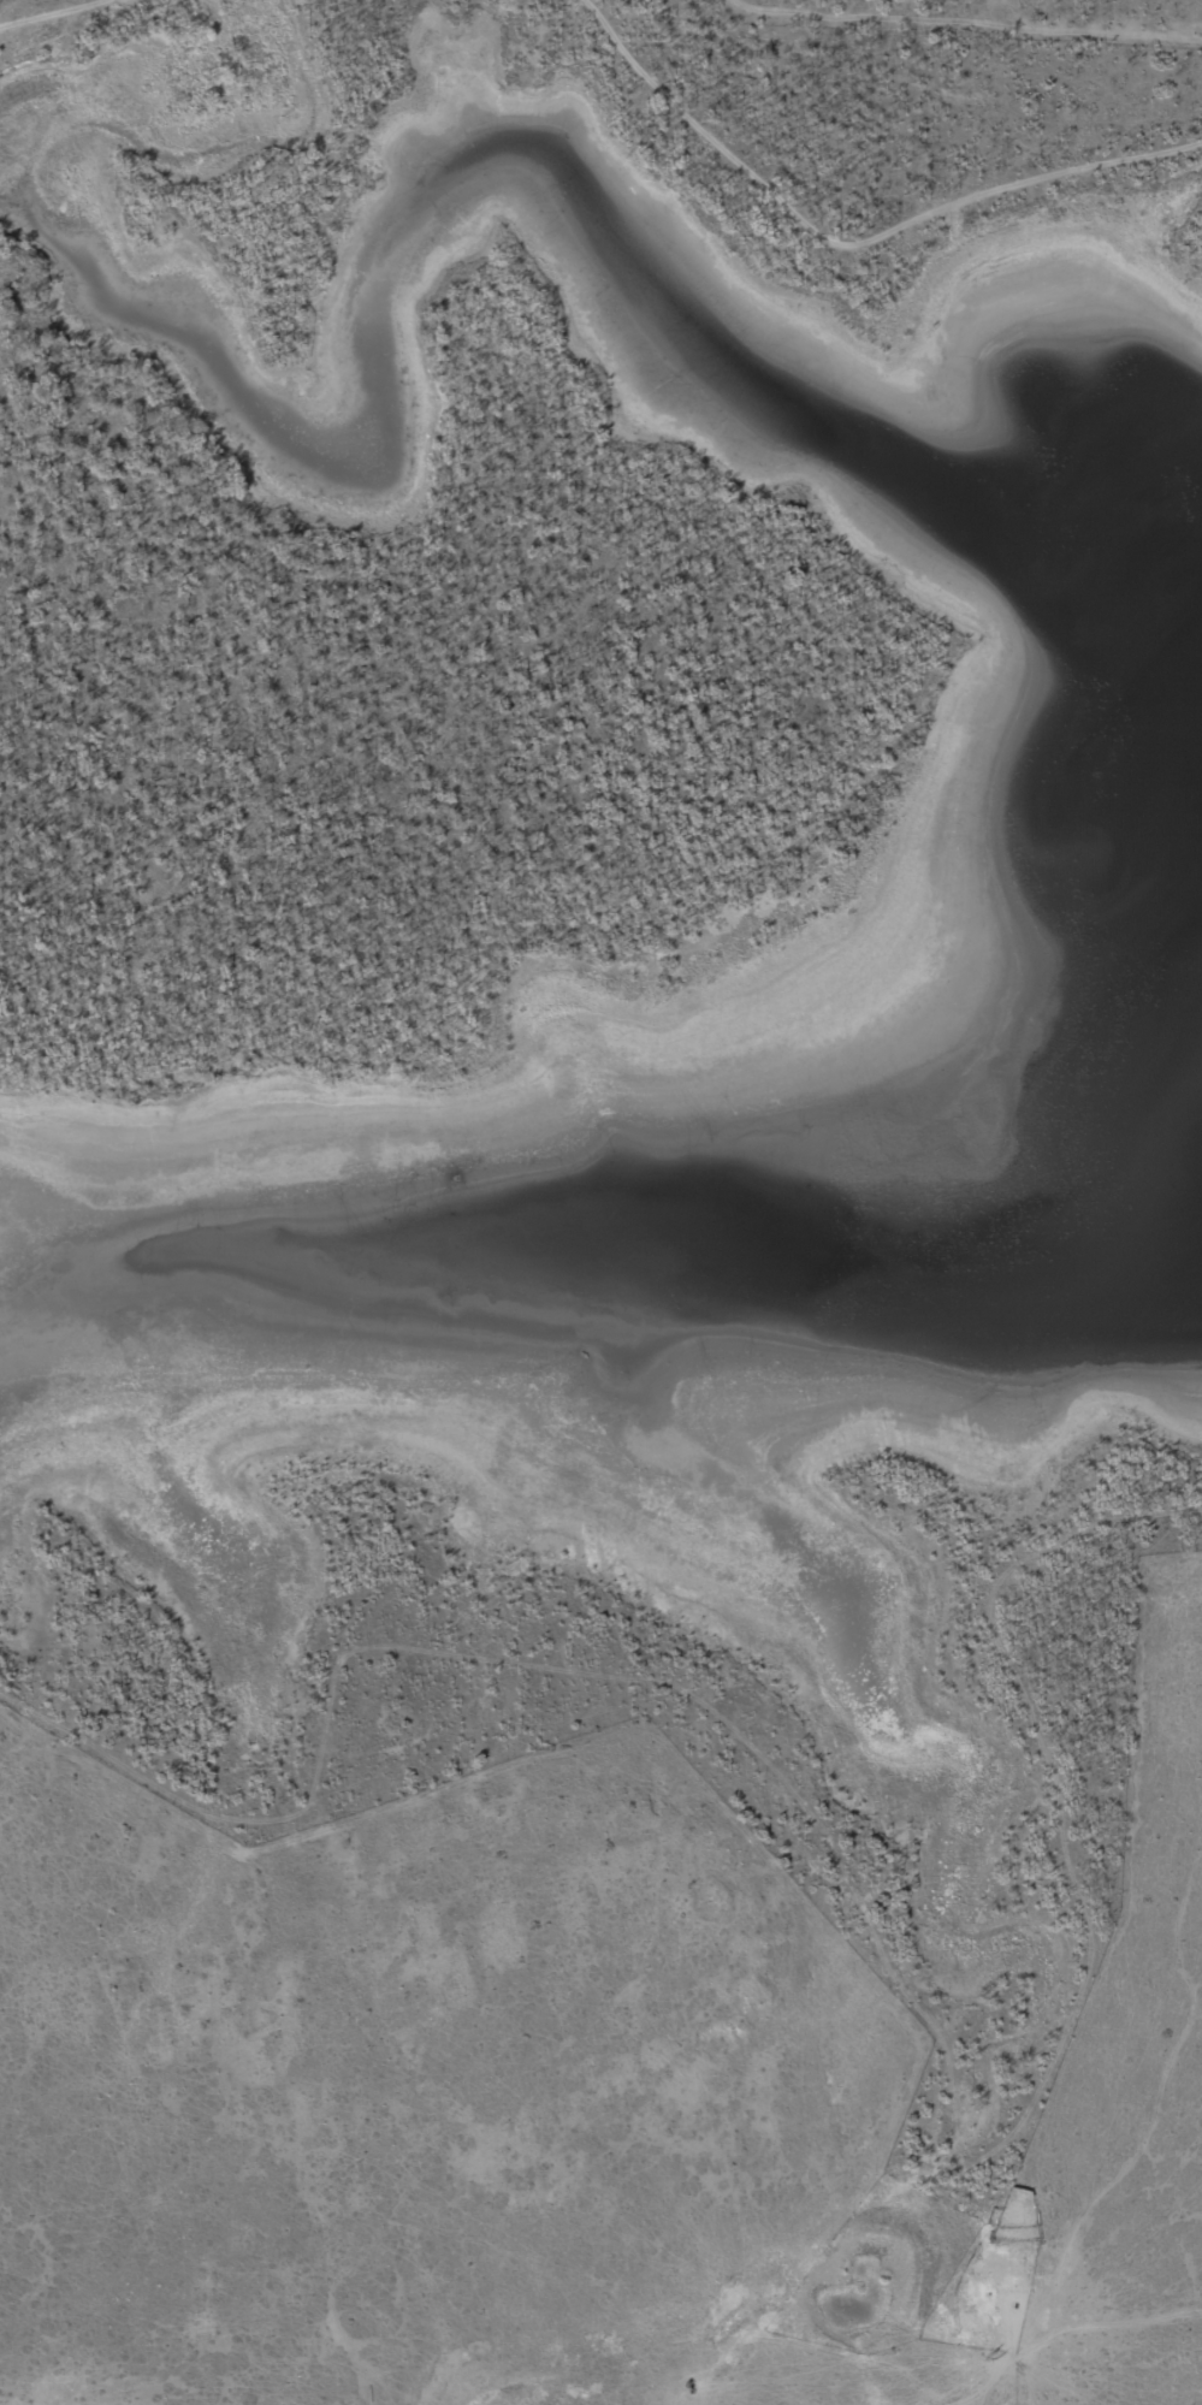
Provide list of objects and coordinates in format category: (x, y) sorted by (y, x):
road: (967, 19)
road: (855, 242)
road: (393, 2281)

